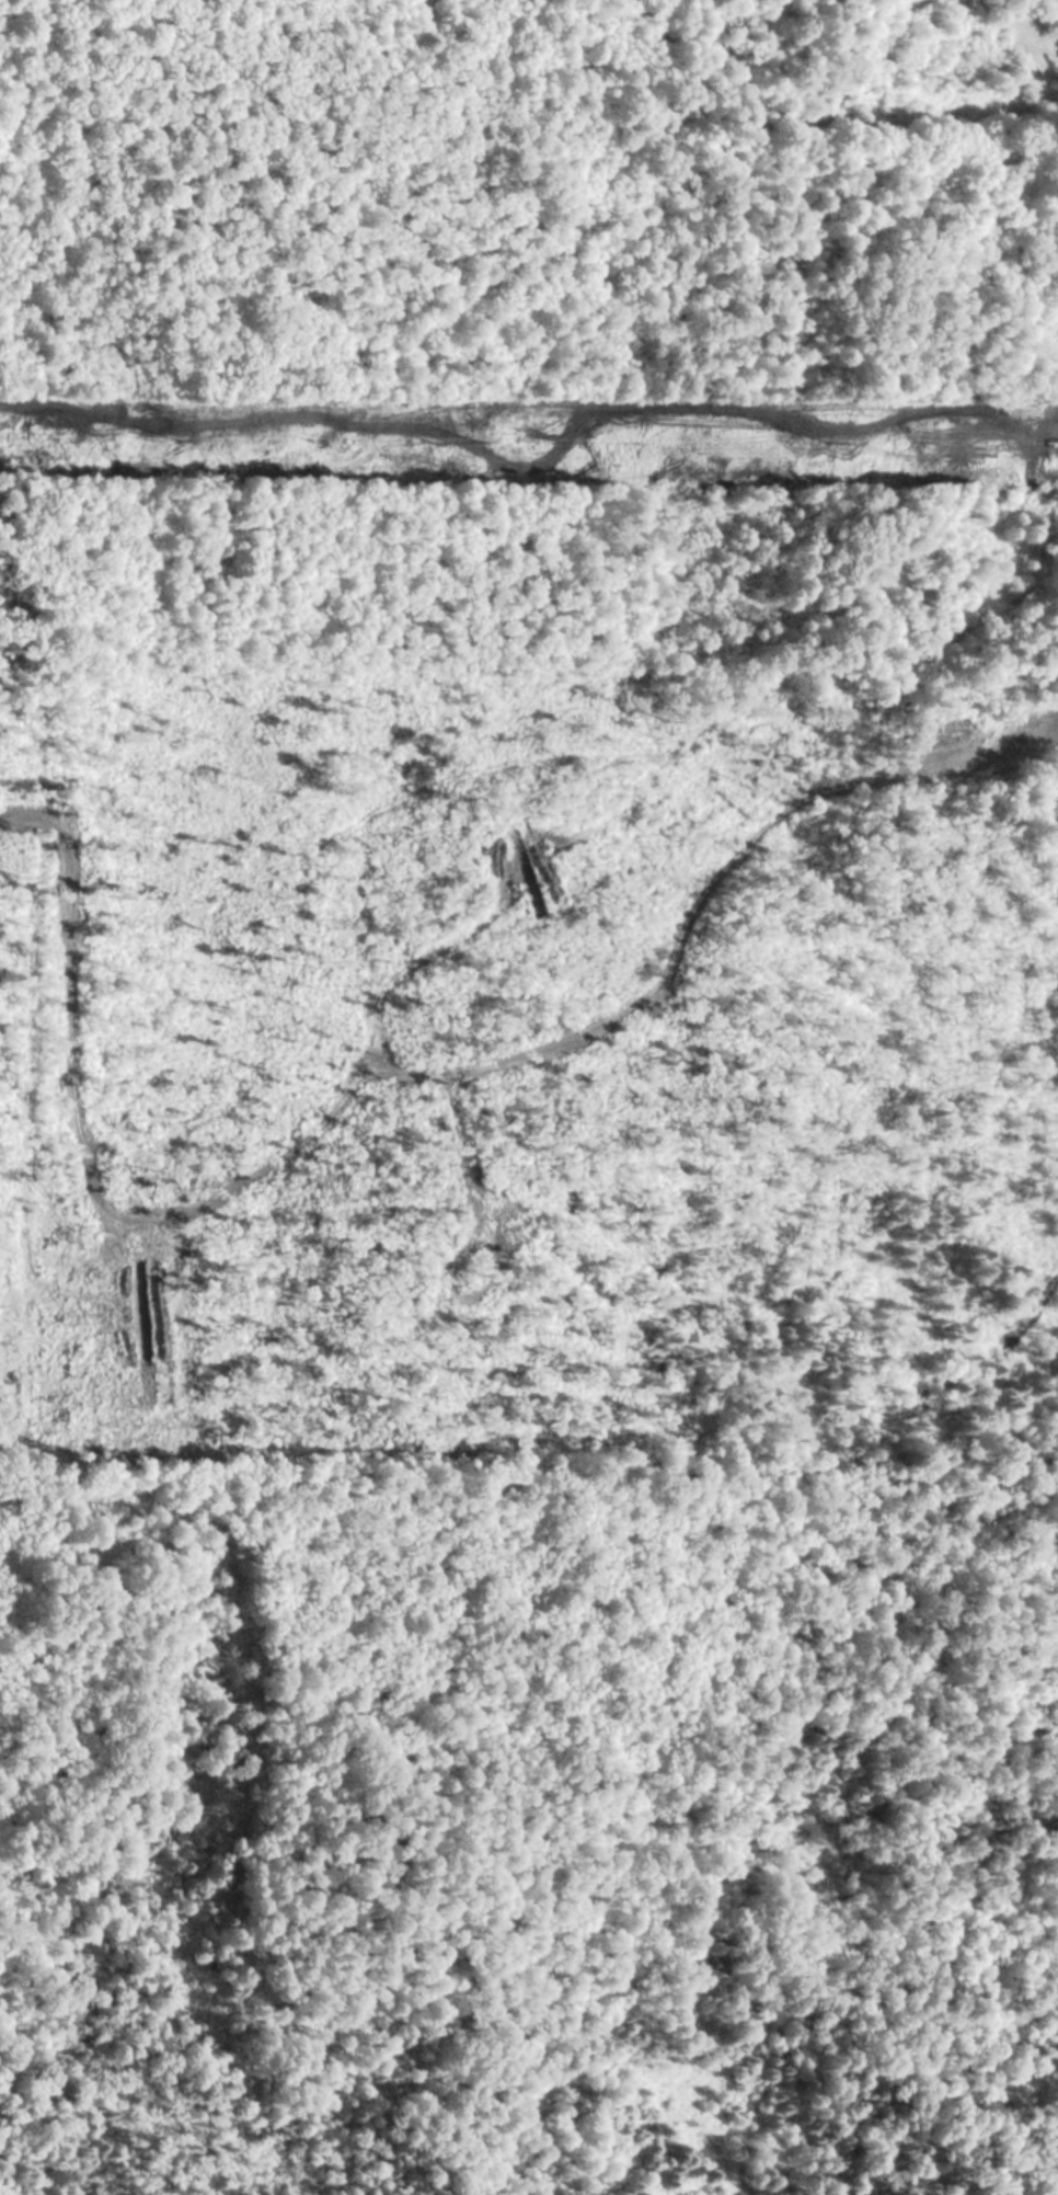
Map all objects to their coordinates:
road: (1054, 310)
road: (1043, 584)

